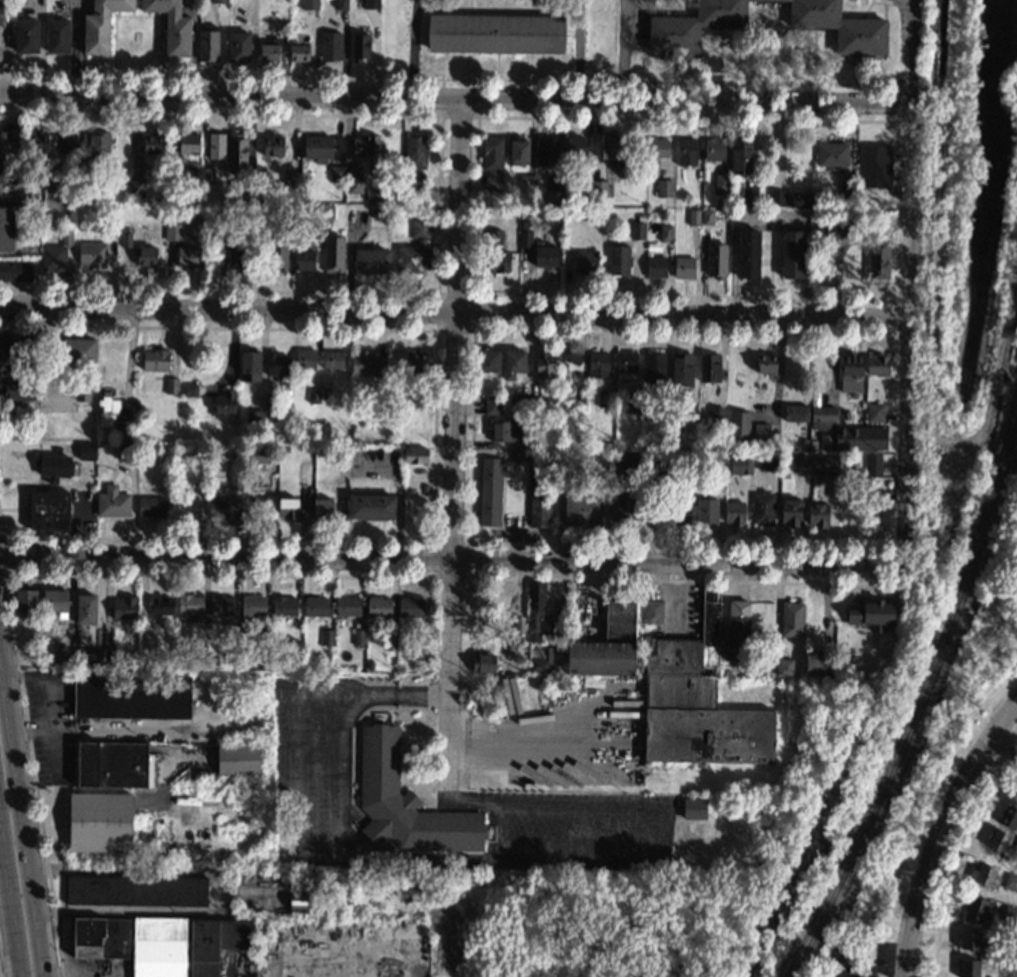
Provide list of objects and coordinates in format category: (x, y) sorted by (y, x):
building: (220, 1)
road: (887, 3)
building: (372, 4)
building: (310, 5)
building: (342, 5)
building: (1, 12)
building: (284, 24)
building: (101, 25)
building: (172, 26)
building: (674, 28)
road: (763, 31)
building: (495, 34)
building: (57, 36)
building: (26, 37)
road: (766, 42)
building: (208, 44)
building: (331, 46)
building: (360, 47)
building: (239, 48)
road: (410, 48)
building: (298, 49)
road: (576, 49)
building: (271, 50)
road: (622, 50)
road: (912, 53)
road: (719, 55)
road: (813, 56)
road: (456, 79)
road: (455, 97)
road: (458, 116)
building: (13, 132)
building: (64, 143)
building: (37, 144)
building: (152, 144)
building: (189, 144)
building: (98, 145)
building: (273, 145)
building: (216, 146)
building: (366, 146)
building: (575, 147)
building: (318, 148)
building: (611, 148)
building: (659, 148)
building: (715, 149)
building: (518, 151)
building: (686, 151)
building: (546, 152)
building: (236, 153)
building: (741, 155)
building: (832, 156)
building: (416, 159)
building: (492, 161)
building: (7, 165)
building: (876, 166)
building: (79, 168)
building: (337, 174)
building: (175, 176)
building: (208, 176)
building: (294, 177)
building: (22, 179)
building: (79, 181)
building: (526, 182)
building: (554, 183)
building: (722, 183)
building: (0, 184)
building: (248, 186)
building: (135, 188)
building: (354, 188)
building: (584, 188)
building: (665, 188)
building: (600, 189)
building: (371, 194)
building: (846, 195)
building: (749, 196)
building: (776, 198)
building: (801, 200)
building: (692, 202)
road: (438, 203)
road: (476, 204)
building: (173, 206)
building: (859, 206)
building: (874, 206)
building: (887, 206)
building: (220, 211)
building: (263, 213)
building: (373, 213)
building: (325, 214)
road: (771, 214)
building: (694, 217)
building: (707, 217)
building: (641, 218)
building: (861, 220)
building: (828, 223)
building: (294, 228)
building: (6, 229)
building: (111, 229)
building: (173, 231)
building: (638, 231)
building: (666, 233)
building: (495, 237)
building: (66, 238)
building: (126, 238)
building: (525, 240)
building: (414, 250)
building: (748, 254)
building: (793, 254)
building: (92, 255)
building: (239, 255)
building: (334, 255)
road: (771, 255)
building: (146, 256)
building: (278, 256)
building: (190, 257)
building: (546, 257)
building: (53, 259)
building: (304, 259)
building: (717, 260)
building: (372, 261)
building: (497, 261)
building: (619, 261)
building: (586, 262)
building: (878, 264)
building: (656, 267)
building: (846, 267)
building: (684, 268)
building: (15, 271)
road: (453, 313)
road: (473, 329)
road: (931, 333)
road: (905, 336)
building: (78, 350)
building: (9, 354)
building: (305, 359)
building: (333, 359)
building: (156, 360)
building: (416, 361)
building: (489, 361)
building: (570, 361)
road: (130, 362)
building: (367, 363)
building: (766, 363)
building: (514, 364)
building: (546, 364)
building: (626, 364)
building: (250, 365)
building: (277, 365)
building: (598, 365)
building: (877, 365)
building: (654, 367)
building: (851, 367)
building: (682, 369)
building: (710, 369)
road: (777, 369)
building: (171, 386)
building: (19, 390)
building: (189, 390)
building: (83, 391)
building: (326, 394)
building: (666, 395)
building: (314, 396)
building: (579, 397)
building: (645, 397)
building: (606, 398)
building: (421, 400)
building: (270, 402)
building: (224, 403)
building: (136, 405)
building: (492, 405)
building: (518, 405)
building: (633, 405)
building: (538, 406)
building: (106, 409)
building: (687, 410)
building: (796, 413)
building: (874, 413)
building: (716, 415)
building: (861, 417)
building: (254, 418)
building: (823, 418)
building: (740, 425)
building: (123, 430)
building: (505, 432)
building: (355, 433)
building: (761, 433)
road: (433, 436)
road: (470, 436)
road: (451, 440)
building: (827, 441)
building: (663, 442)
building: (646, 444)
building: (805, 444)
building: (813, 444)
building: (141, 446)
building: (285, 448)
building: (350, 449)
building: (86, 451)
building: (127, 451)
building: (563, 452)
building: (673, 453)
building: (258, 455)
building: (415, 455)
building: (623, 459)
building: (720, 460)
building: (769, 460)
building: (855, 460)
building: (798, 463)
building: (740, 465)
building: (825, 465)
building: (873, 465)
building: (886, 465)
building: (55, 467)
building: (658, 467)
building: (168, 482)
building: (235, 482)
building: (194, 485)
building: (425, 488)
building: (490, 491)
building: (540, 494)
building: (112, 502)
building: (152, 507)
building: (371, 507)
building: (626, 507)
building: (187, 508)
building: (222, 508)
building: (288, 508)
building: (323, 509)
building: (763, 509)
building: (582, 510)
building: (49, 511)
building: (879, 511)
building: (679, 512)
building: (707, 512)
building: (791, 512)
building: (735, 513)
building: (818, 515)
road: (4, 557)
road: (450, 561)
road: (219, 575)
road: (431, 576)
road: (689, 580)
building: (55, 601)
building: (25, 602)
building: (190, 604)
building: (221, 605)
building: (161, 606)
building: (284, 606)
building: (347, 606)
building: (252, 607)
building: (316, 607)
building: (378, 607)
building: (410, 607)
building: (125, 608)
building: (85, 609)
building: (652, 612)
building: (537, 613)
building: (871, 614)
building: (792, 619)
building: (519, 626)
building: (298, 631)
building: (233, 635)
building: (264, 636)
building: (327, 637)
building: (359, 637)
building: (389, 642)
building: (145, 645)
building: (607, 645)
building: (561, 647)
building: (49, 651)
building: (414, 652)
building: (91, 656)
building: (110, 657)
building: (542, 660)
building: (179, 663)
building: (486, 664)
building: (814, 664)
building: (218, 665)
building: (369, 665)
building: (784, 667)
building: (828, 676)
building: (702, 694)
building: (132, 696)
railway: (924, 703)
road: (99, 730)
road: (500, 738)
road: (1001, 753)
building: (237, 760)
building: (114, 765)
road: (34, 775)
building: (206, 802)
building: (406, 803)
road: (469, 803)
road: (345, 807)
building: (693, 808)
road: (946, 812)
building: (1009, 817)
road: (661, 819)
building: (100, 822)
road: (20, 828)
building: (150, 832)
building: (167, 835)
building: (998, 840)
building: (1015, 847)
building: (197, 848)
building: (985, 876)
building: (1011, 882)
building: (136, 890)
road: (10, 901)
building: (976, 910)
building: (1010, 915)
building: (970, 940)
building: (133, 943)
building: (216, 943)
building: (269, 943)
building: (1010, 951)
building: (842, 956)
road: (903, 958)
building: (970, 968)
building: (1009, 968)
road: (861, 971)
road: (0, 975)
building: (844, 975)

